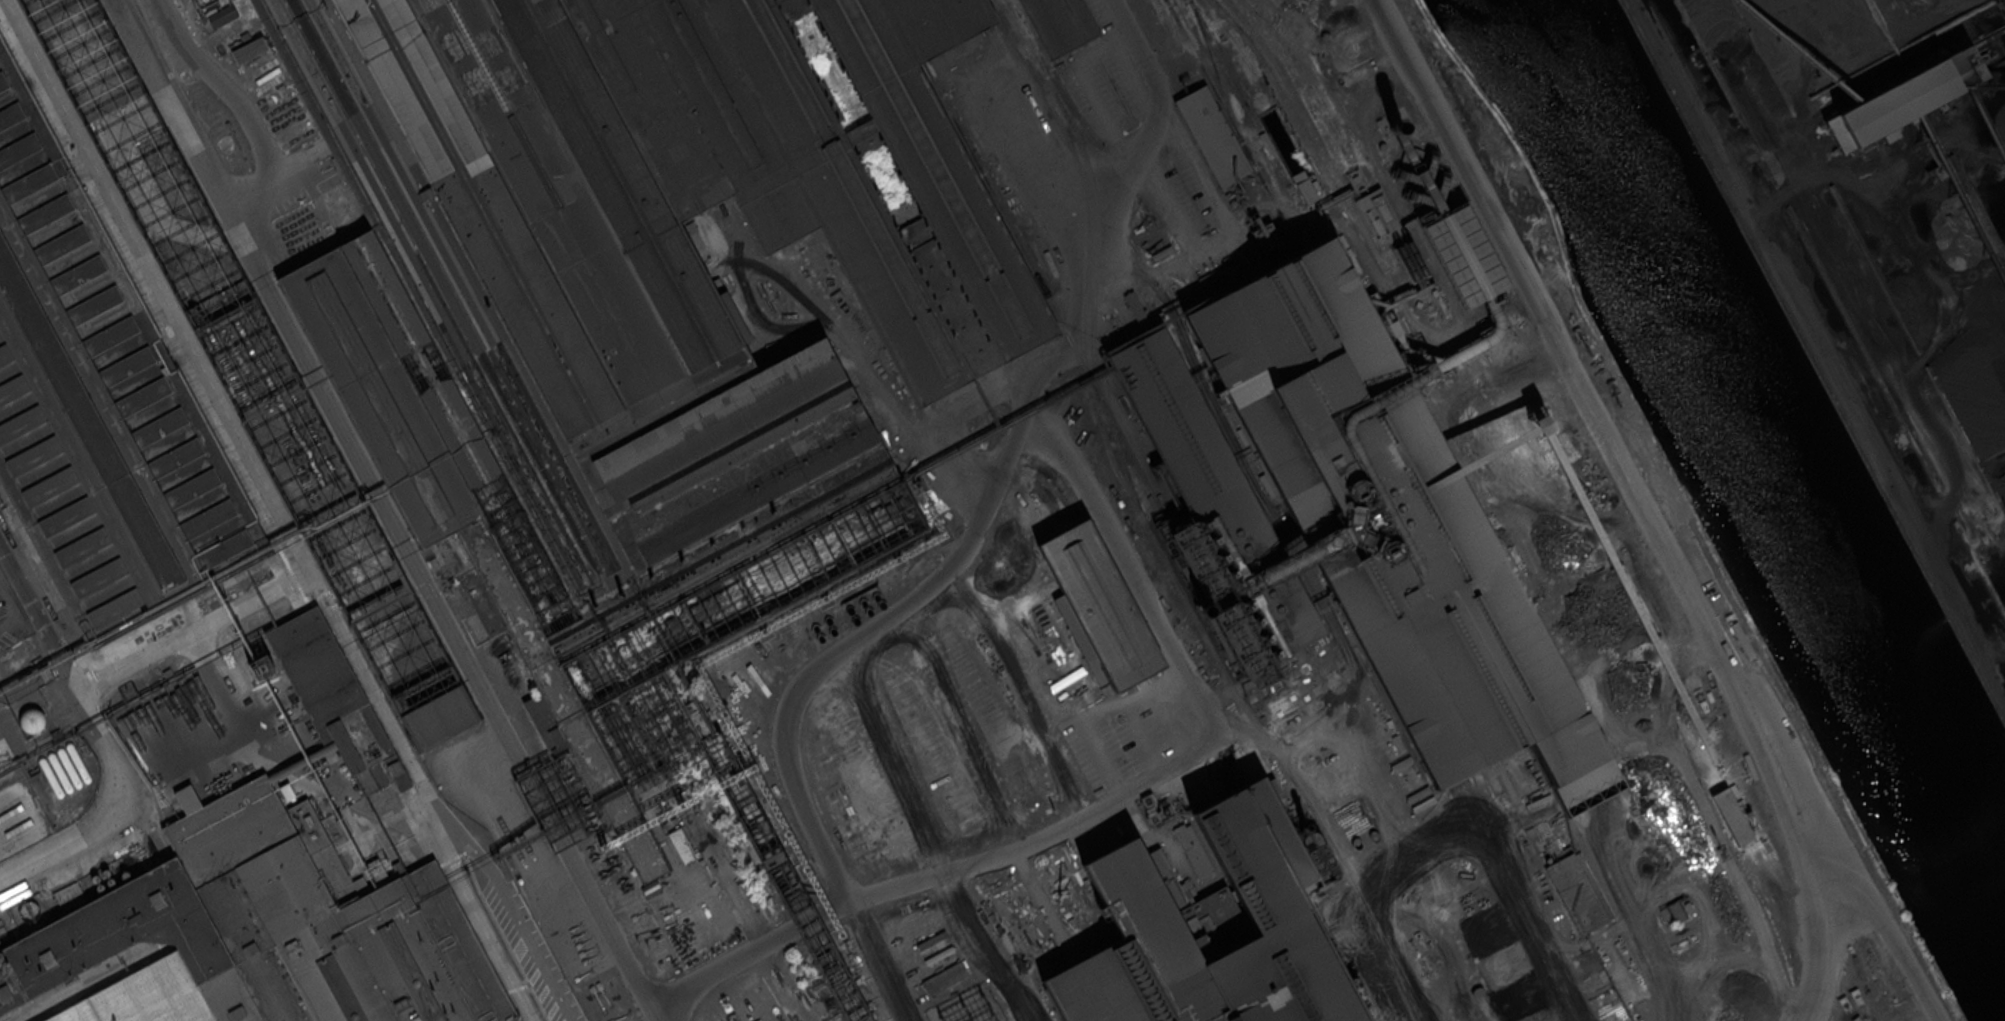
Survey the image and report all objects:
building: (222, 15)
building: (1060, 24)
building: (249, 50)
railway: (1185, 51)
road: (1125, 67)
road: (1081, 72)
railway: (1217, 75)
parking lot: (1104, 86)
railway: (1309, 87)
railway: (1238, 90)
road: (1800, 92)
building: (1901, 98)
road: (238, 101)
railway: (1233, 126)
railway: (1311, 132)
building: (1213, 135)
road: (1055, 170)
railway: (1383, 183)
building: (1305, 188)
building: (1377, 206)
parking lot: (1194, 207)
road: (1112, 213)
road: (1875, 219)
railway: (1011, 228)
road: (1233, 238)
building: (1465, 255)
railway: (1094, 258)
road: (133, 260)
railway: (1388, 277)
building: (628, 286)
road: (838, 331)
road: (1821, 346)
building: (98, 408)
road: (971, 410)
road: (1000, 458)
river: (1758, 461)
road: (1633, 498)
road: (387, 512)
building: (1349, 521)
railway: (1149, 530)
building: (1103, 606)
road: (12, 609)
parking lot: (11, 617)
railway: (1650, 695)
road: (1016, 699)
building: (335, 700)
building: (439, 717)
road: (107, 743)
road: (1210, 743)
road: (935, 784)
road: (1305, 798)
road: (802, 800)
railway: (365, 811)
building: (1732, 816)
building: (681, 844)
road: (1377, 873)
building: (1578, 891)
building: (1141, 913)
road: (1788, 915)
road: (1505, 920)
road: (1886, 923)
building: (258, 932)
road: (882, 962)
building: (944, 978)

